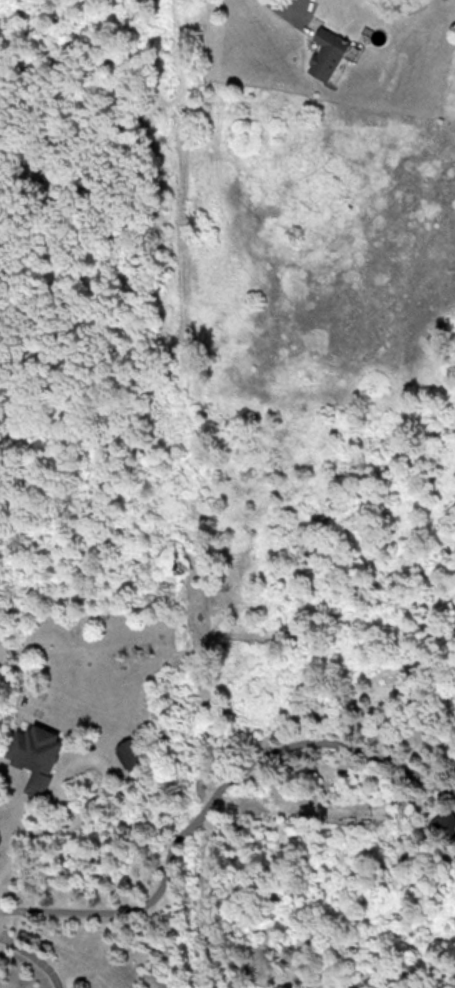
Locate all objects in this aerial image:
road: (290, 5)
building: (327, 52)
road: (91, 749)
building: (130, 753)
building: (36, 755)
road: (212, 794)
building: (446, 823)
road: (26, 830)
road: (35, 954)

